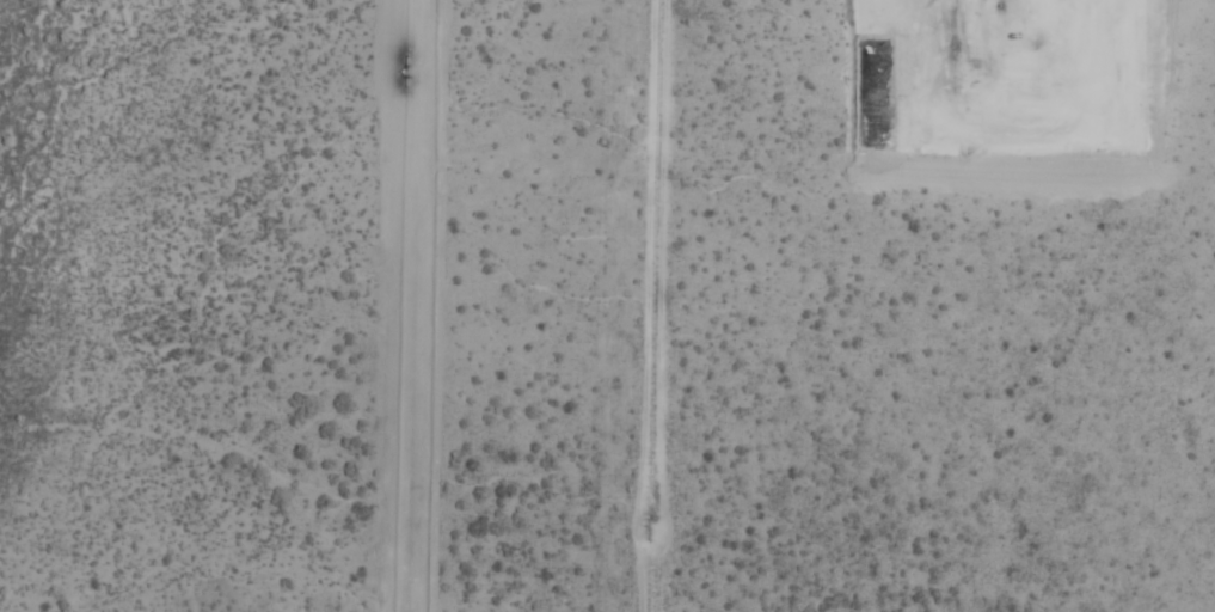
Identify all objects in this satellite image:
petroleum well: (994, 1)
road: (1079, 126)
road: (1131, 367)

